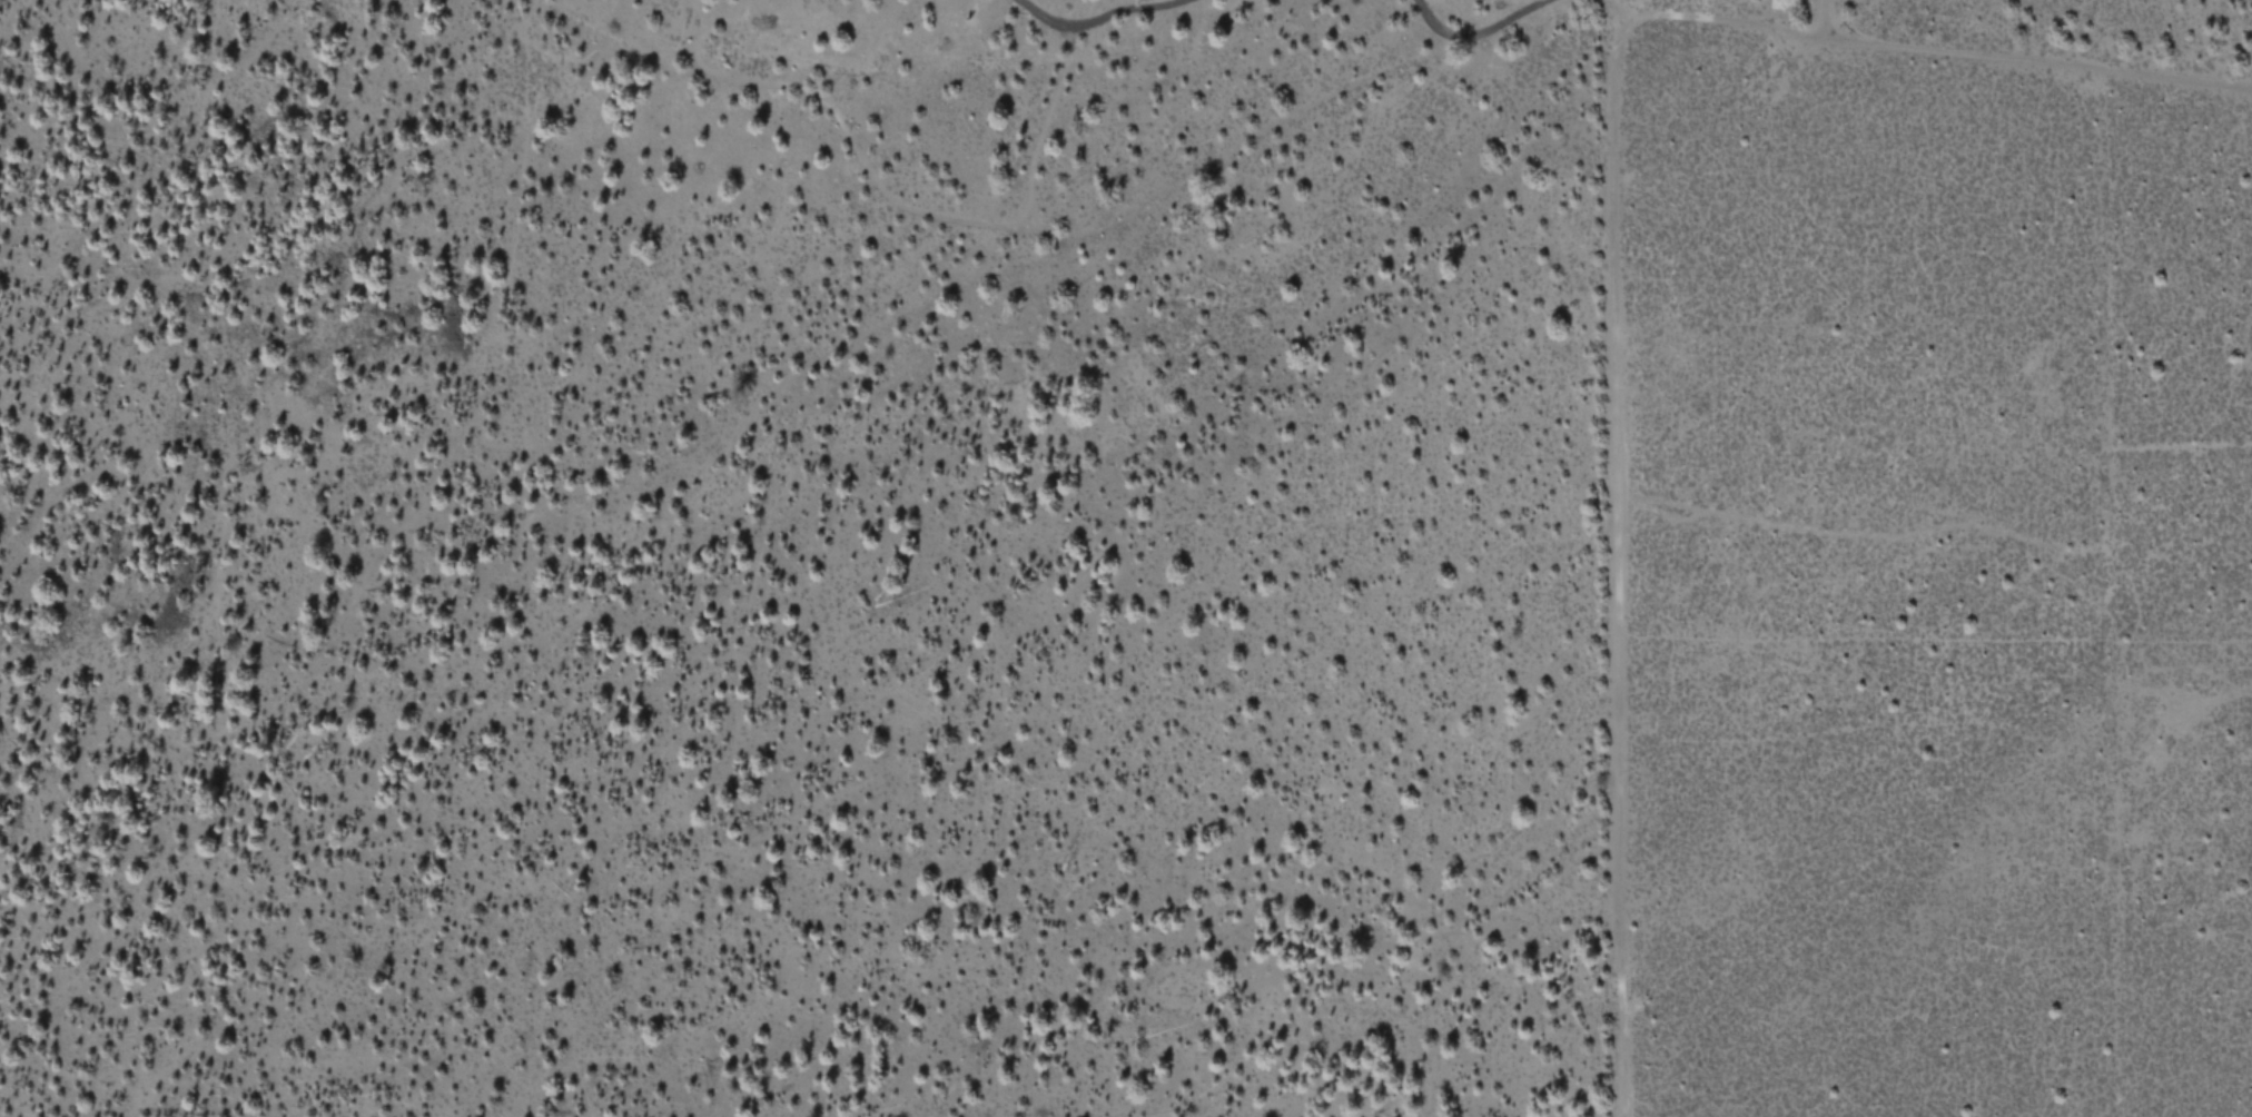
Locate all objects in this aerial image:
road: (2249, 0)

